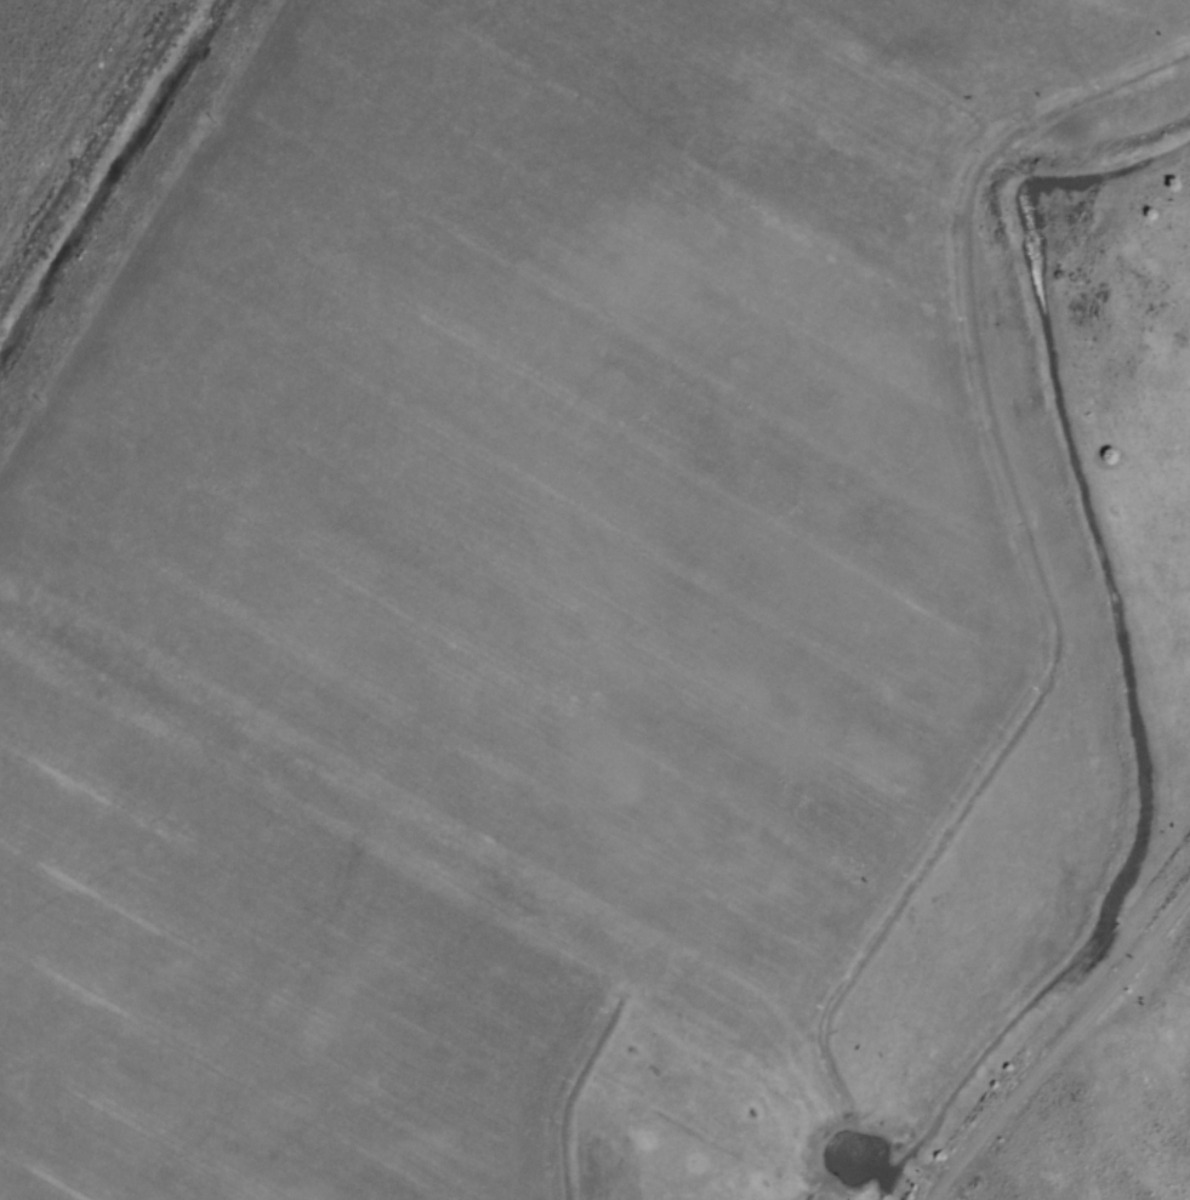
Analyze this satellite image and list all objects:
road: (102, 171)
road: (1063, 1043)

